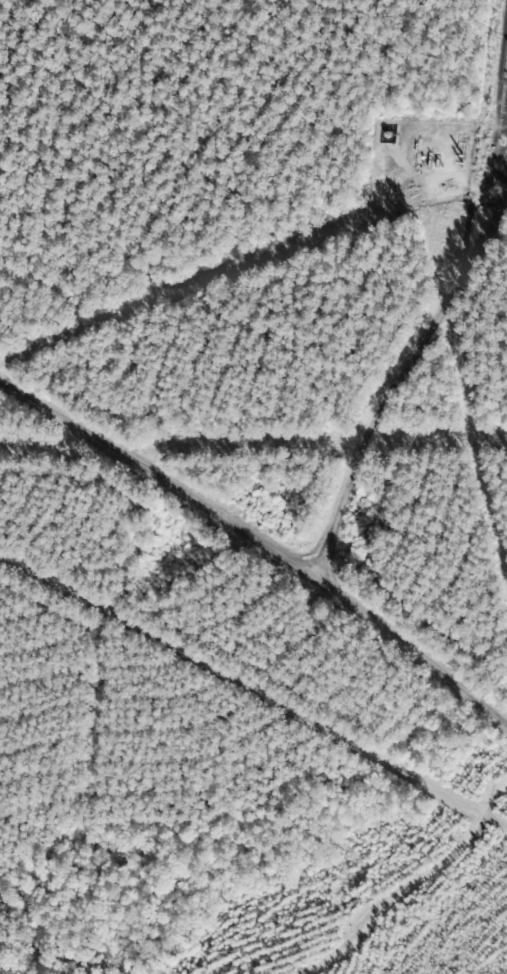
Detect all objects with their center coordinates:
road: (260, 553)

